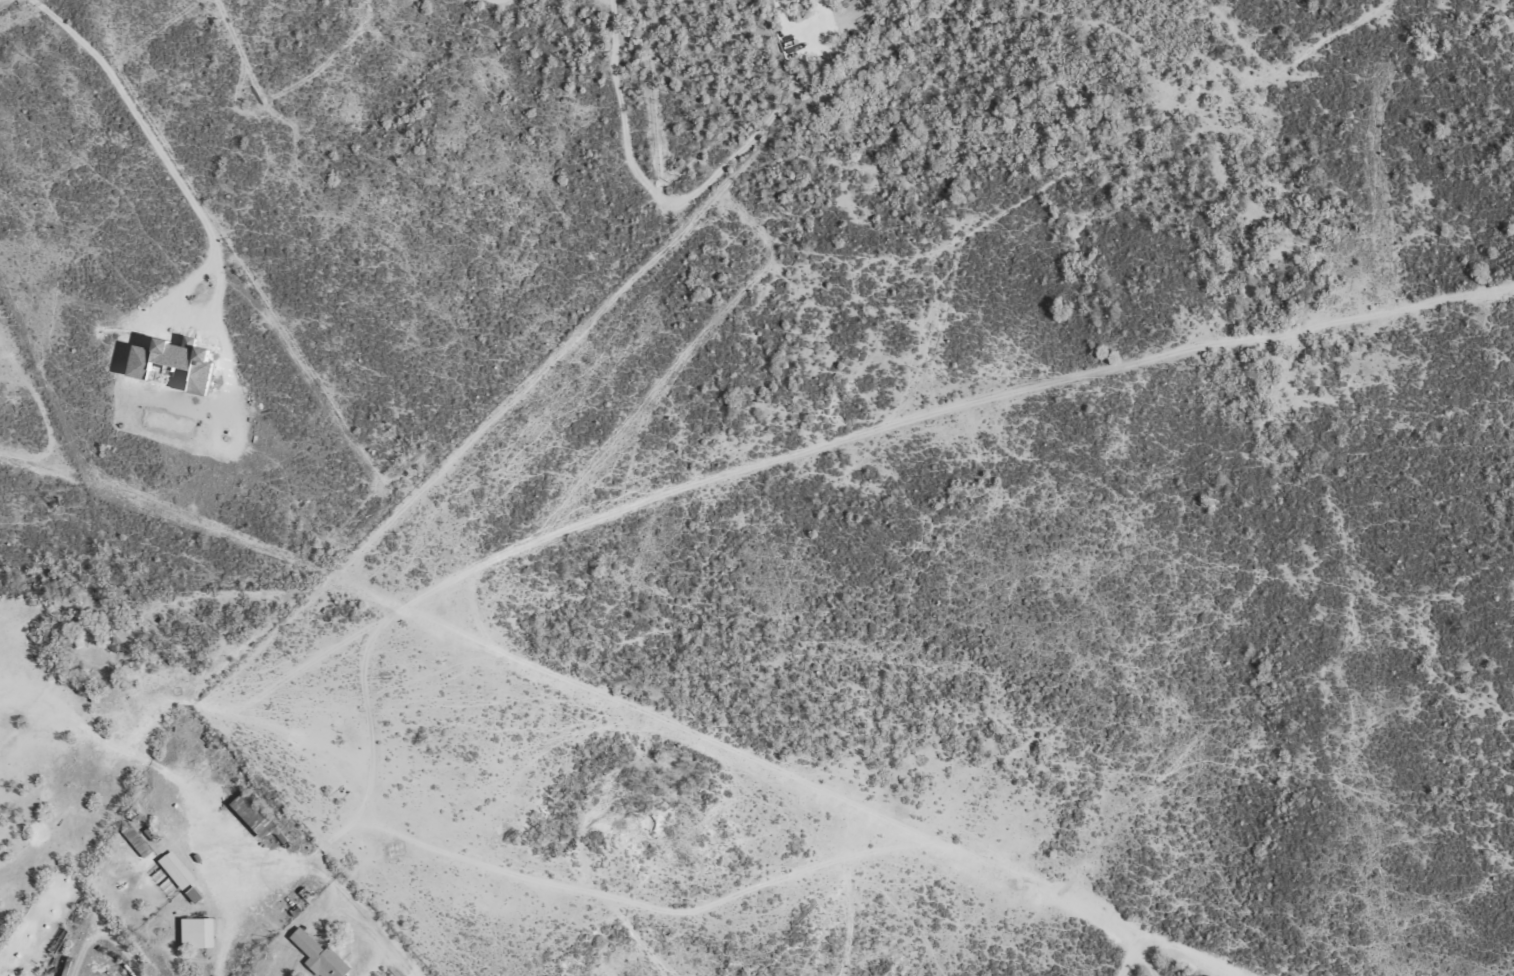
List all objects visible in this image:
road: (360, 519)
building: (250, 816)
building: (134, 841)
building: (174, 870)
building: (195, 933)
road: (1180, 942)
building: (315, 954)

